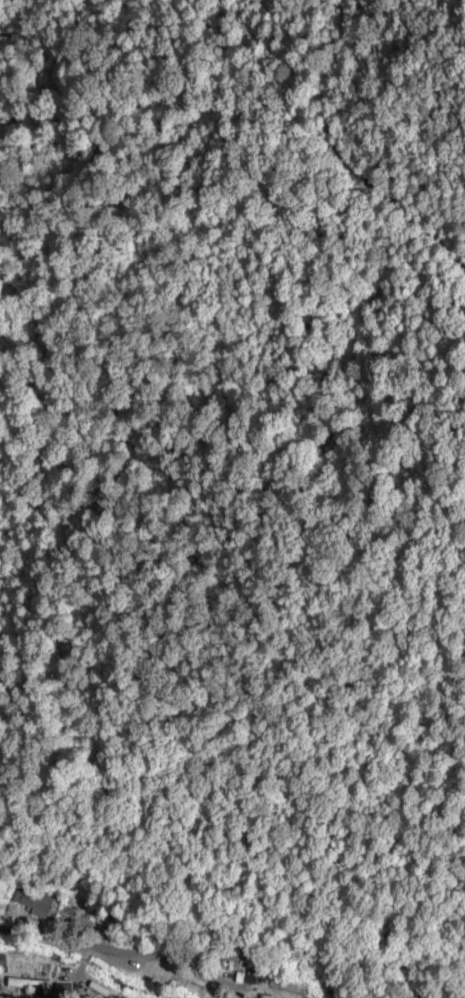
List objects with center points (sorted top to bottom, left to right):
building: (34, 904)
road: (91, 945)
building: (28, 983)

